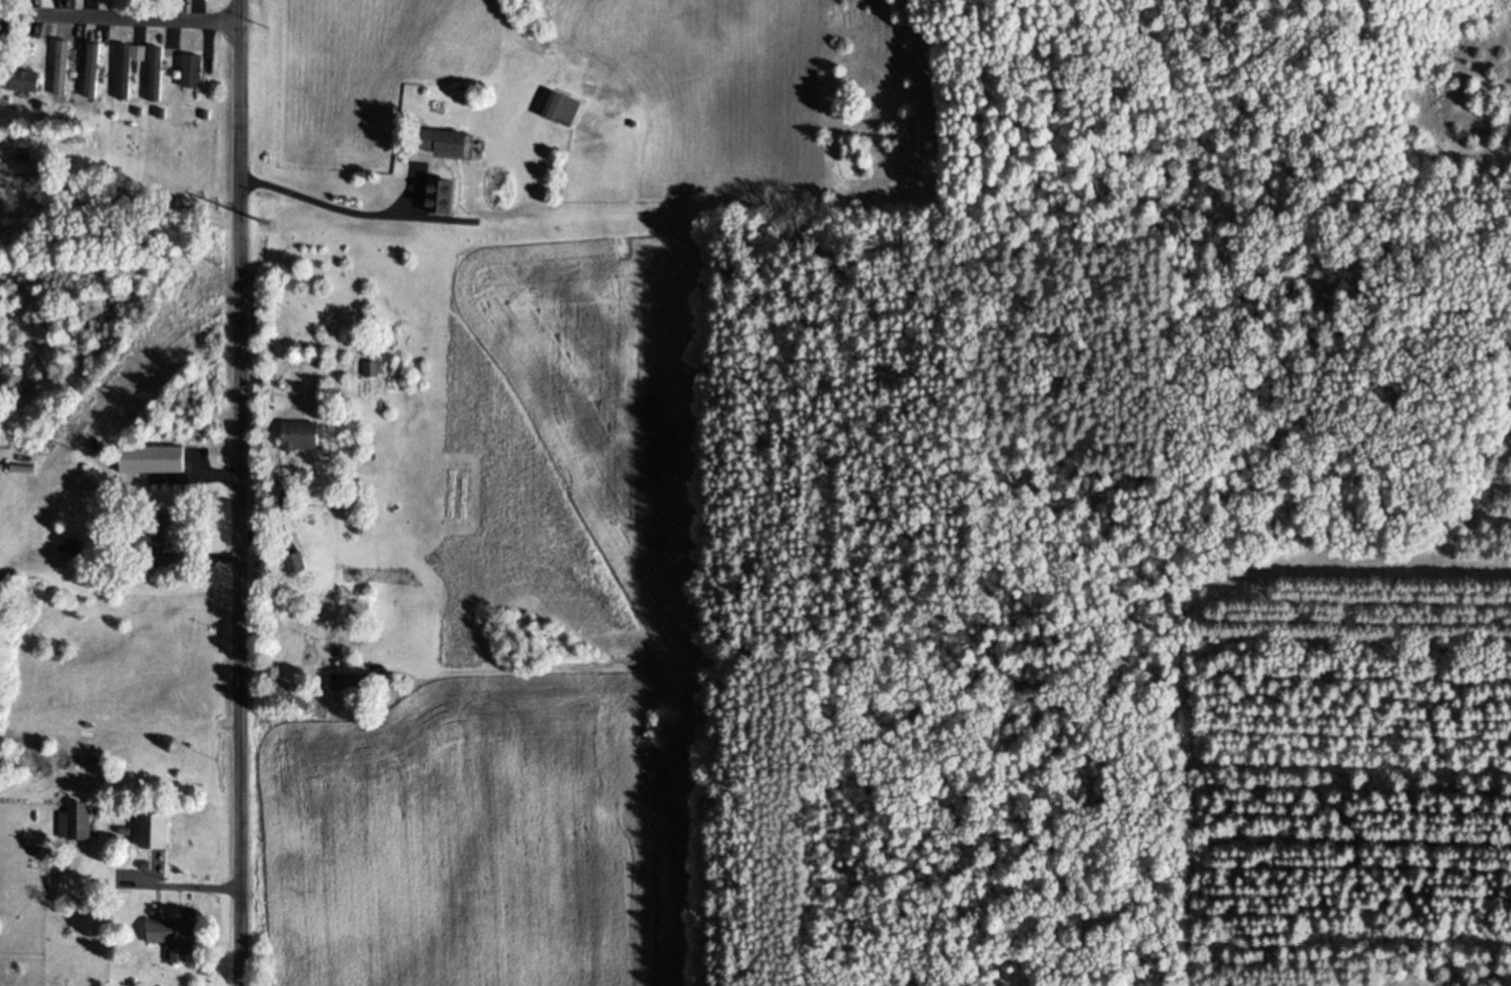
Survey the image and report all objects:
building: (199, 0)
road: (120, 20)
building: (127, 71)
building: (194, 73)
building: (156, 76)
building: (25, 84)
building: (567, 110)
building: (451, 145)
building: (24, 172)
building: (447, 191)
power tower: (269, 206)
road: (336, 211)
building: (374, 372)
building: (308, 439)
building: (157, 463)
road: (239, 492)
road: (277, 529)
building: (158, 540)
building: (298, 565)
crop: (543, 650)
building: (350, 684)
building: (82, 824)
building: (162, 834)
road: (196, 889)
building: (185, 939)

